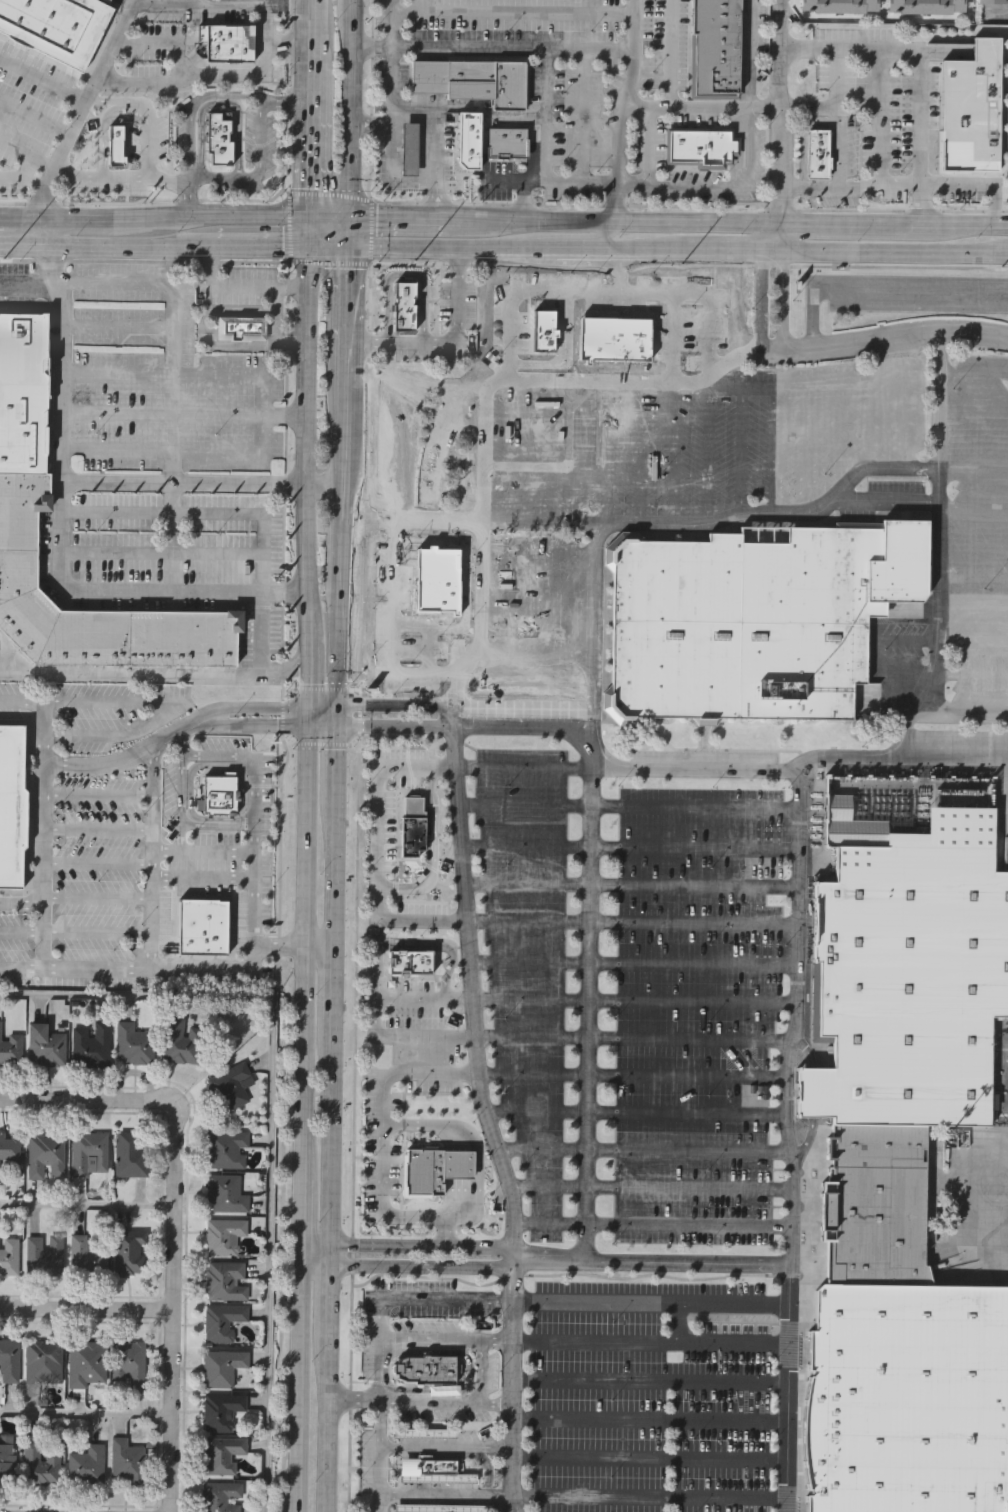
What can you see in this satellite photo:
building: (992, 3)
building: (837, 6)
building: (924, 6)
road: (513, 11)
road: (238, 12)
road: (352, 13)
road: (390, 22)
building: (56, 26)
road: (114, 37)
building: (227, 42)
road: (185, 44)
road: (492, 46)
building: (714, 47)
road: (749, 53)
road: (917, 72)
road: (195, 76)
road: (43, 78)
building: (473, 81)
road: (287, 97)
road: (371, 100)
building: (968, 101)
road: (833, 104)
road: (671, 106)
road: (644, 107)
road: (317, 108)
road: (619, 110)
road: (779, 111)
road: (35, 119)
road: (350, 122)
road: (433, 128)
road: (877, 135)
building: (467, 140)
building: (217, 141)
building: (509, 142)
building: (113, 144)
road: (66, 145)
building: (702, 145)
road: (646, 146)
road: (549, 148)
road: (29, 149)
building: (409, 149)
gas station: (409, 149)
building: (818, 153)
road: (214, 176)
road: (733, 185)
road: (23, 192)
road: (330, 193)
road: (189, 196)
road: (143, 199)
road: (689, 203)
road: (18, 216)
road: (76, 216)
road: (215, 216)
traffic signals: (314, 216)
road: (331, 218)
traffic signals: (349, 220)
road: (415, 220)
road: (628, 222)
road: (840, 223)
road: (956, 224)
road: (289, 226)
road: (370, 230)
road: (37, 231)
road: (313, 231)
road: (349, 233)
road: (769, 234)
road: (780, 234)
road: (573, 236)
road: (18, 246)
road: (123, 246)
road: (720, 246)
road: (279, 247)
traffic signals: (313, 247)
traffic signals: (349, 247)
road: (503, 247)
road: (896, 247)
road: (144, 260)
road: (330, 261)
road: (688, 264)
road: (617, 268)
road: (28, 283)
road: (57, 284)
road: (114, 284)
road: (261, 286)
road: (591, 290)
road: (877, 290)
road: (761, 299)
road: (783, 300)
building: (427, 303)
road: (170, 307)
building: (401, 307)
road: (347, 319)
road: (115, 324)
building: (241, 328)
road: (312, 328)
building: (546, 331)
building: (617, 338)
road: (884, 338)
road: (444, 340)
building: (406, 352)
road: (115, 374)
building: (23, 392)
road: (60, 404)
road: (938, 404)
road: (203, 408)
road: (115, 413)
road: (482, 416)
road: (346, 437)
road: (311, 446)
road: (115, 450)
road: (185, 481)
road: (328, 482)
parking lot: (668, 487)
road: (346, 505)
road: (812, 510)
road: (198, 513)
road: (414, 518)
road: (538, 521)
parking lot: (976, 524)
road: (171, 535)
building: (18, 548)
road: (309, 551)
road: (346, 551)
building: (437, 581)
road: (131, 588)
road: (344, 589)
building: (758, 618)
road: (391, 628)
road: (262, 629)
road: (340, 655)
road: (10, 658)
road: (307, 662)
road: (153, 668)
road: (172, 701)
road: (260, 704)
traffic signals: (306, 704)
road: (321, 704)
traffic signals: (337, 704)
road: (394, 704)
road: (306, 715)
road: (336, 715)
road: (260, 724)
road: (394, 725)
traffic signals: (306, 726)
road: (321, 726)
traffic signals: (336, 726)
road: (181, 743)
road: (215, 753)
road: (131, 756)
road: (518, 768)
road: (723, 769)
road: (336, 770)
road: (252, 786)
road: (176, 787)
building: (220, 794)
road: (94, 795)
building: (12, 806)
road: (378, 807)
road: (625, 807)
road: (152, 811)
road: (36, 815)
road: (218, 823)
building: (414, 826)
road: (95, 830)
road: (626, 848)
road: (432, 849)
road: (184, 851)
road: (234, 852)
road: (96, 863)
road: (186, 864)
road: (254, 864)
road: (335, 879)
road: (356, 887)
road: (628, 887)
road: (96, 899)
road: (155, 899)
road: (19, 900)
road: (418, 920)
road: (628, 922)
building: (203, 927)
road: (18, 931)
road: (96, 933)
road: (303, 940)
road: (294, 942)
road: (440, 944)
building: (410, 962)
road: (630, 965)
road: (19, 966)
road: (212, 967)
road: (375, 977)
building: (910, 978)
road: (582, 993)
parking lot: (633, 996)
road: (421, 998)
road: (334, 1002)
road: (630, 1002)
road: (422, 1035)
road: (629, 1038)
building: (181, 1041)
building: (91, 1044)
building: (132, 1044)
building: (45, 1046)
building: (10, 1048)
road: (629, 1076)
building: (230, 1085)
road: (84, 1102)
road: (631, 1114)
road: (481, 1119)
road: (263, 1123)
road: (787, 1140)
road: (452, 1143)
road: (382, 1145)
building: (9, 1148)
building: (226, 1149)
road: (641, 1151)
road: (333, 1152)
building: (89, 1154)
building: (45, 1156)
building: (130, 1156)
road: (367, 1158)
building: (434, 1167)
building: (0, 1174)
road: (649, 1189)
building: (225, 1194)
road: (83, 1203)
road: (300, 1205)
building: (874, 1205)
road: (652, 1227)
building: (223, 1234)
road: (388, 1244)
road: (478, 1245)
road: (316, 1249)
building: (128, 1251)
building: (79, 1252)
building: (44, 1254)
building: (9, 1255)
road: (651, 1262)
road: (405, 1268)
building: (226, 1280)
road: (652, 1305)
road: (83, 1307)
road: (167, 1309)
building: (222, 1321)
road: (374, 1338)
road: (443, 1338)
road: (651, 1345)
building: (9, 1360)
building: (43, 1362)
building: (85, 1362)
building: (128, 1364)
building: (222, 1367)
building: (425, 1368)
road: (479, 1371)
road: (331, 1377)
road: (298, 1383)
road: (650, 1383)
parking lot: (650, 1390)
building: (907, 1397)
road: (404, 1400)
road: (494, 1404)
building: (221, 1410)
road: (83, 1414)
road: (649, 1423)
building: (424, 1433)
road: (440, 1448)
building: (221, 1453)
building: (6, 1460)
road: (648, 1460)
building: (126, 1461)
building: (40, 1463)
building: (86, 1464)
building: (427, 1466)
building: (437, 1478)
building: (221, 1496)
road: (440, 1496)
road: (648, 1498)
building: (441, 1507)

